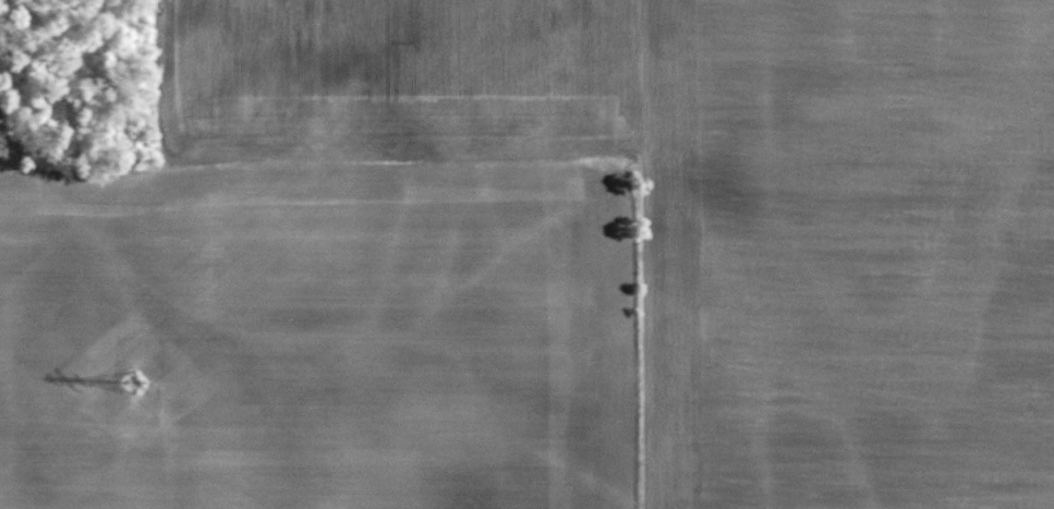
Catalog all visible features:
power tower: (135, 381)

